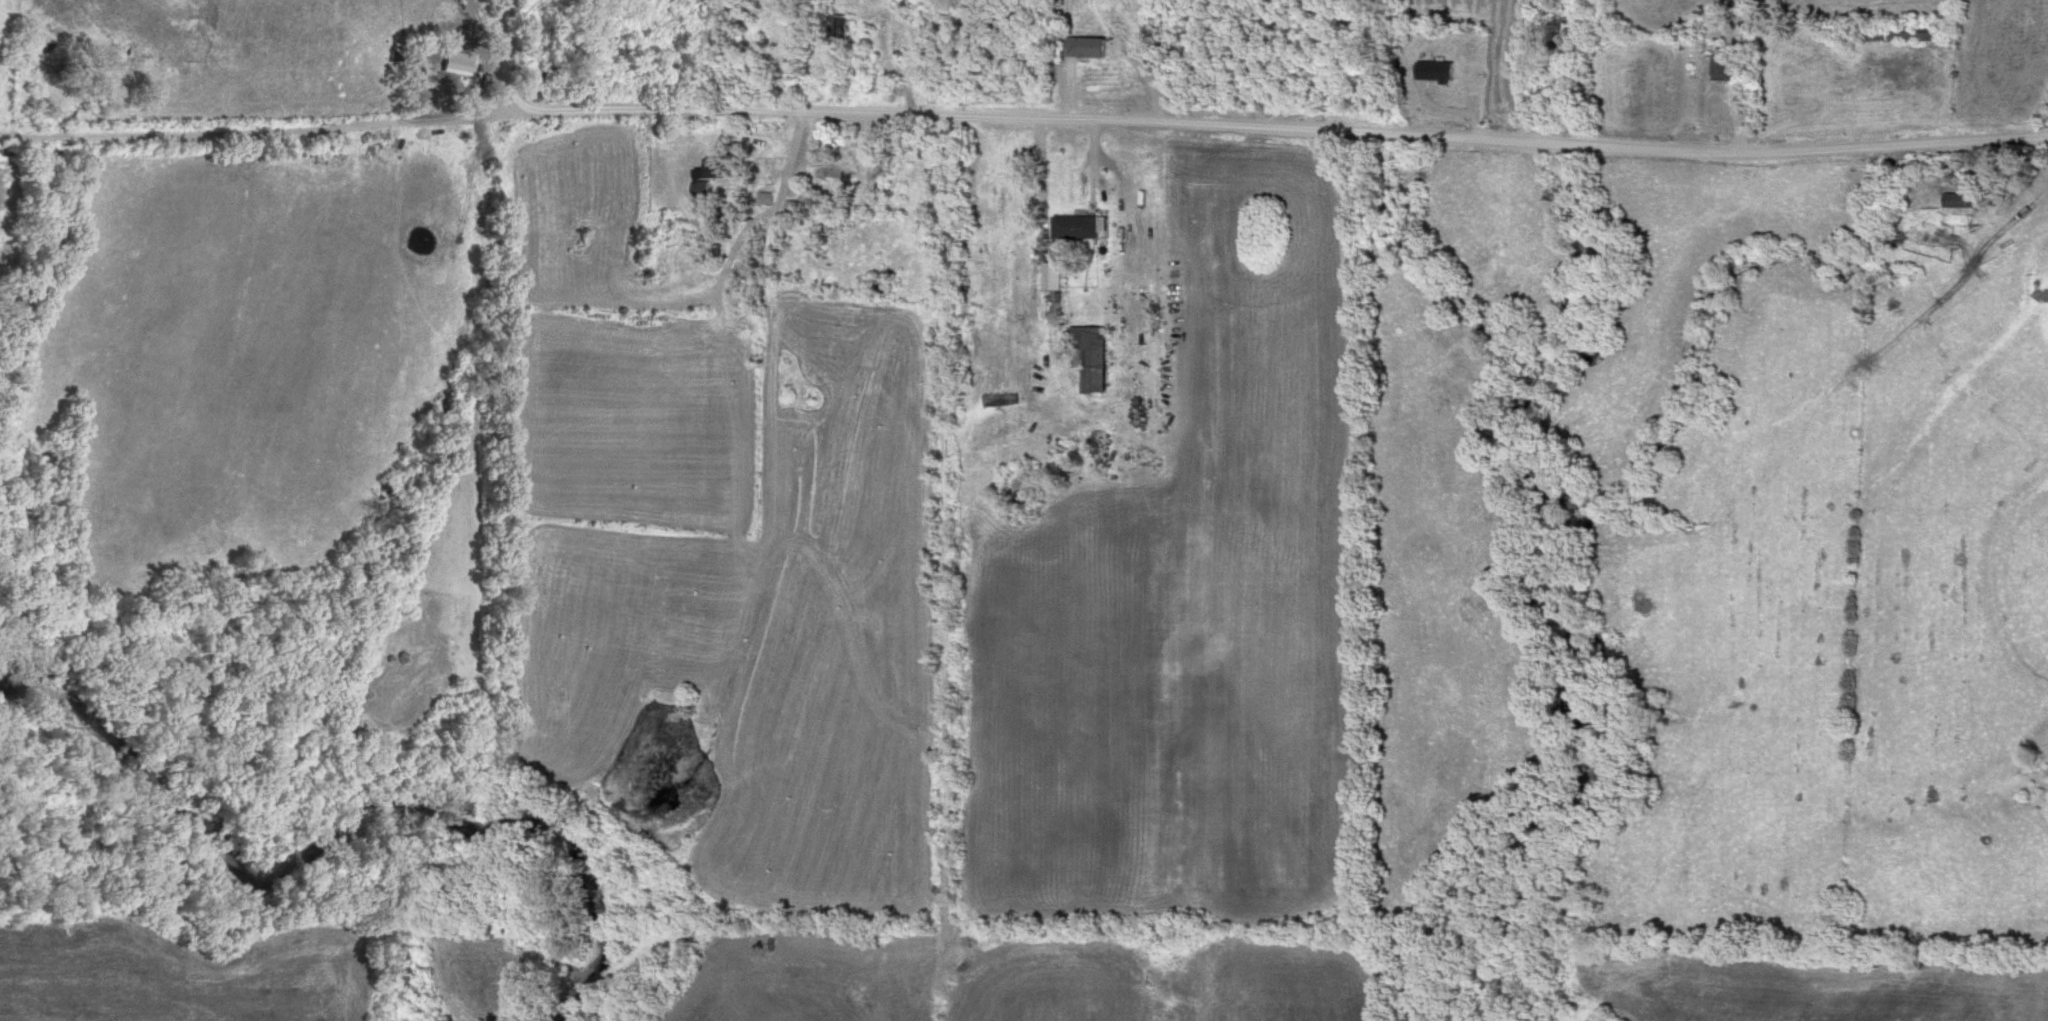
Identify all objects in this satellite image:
building: (846, 26)
building: (1087, 47)
road: (505, 59)
building: (1721, 66)
building: (1433, 70)
road: (1024, 121)
building: (722, 166)
building: (836, 173)
building: (766, 198)
road: (782, 199)
building: (1957, 200)
building: (1080, 226)
building: (821, 239)
building: (713, 248)
building: (1094, 358)

